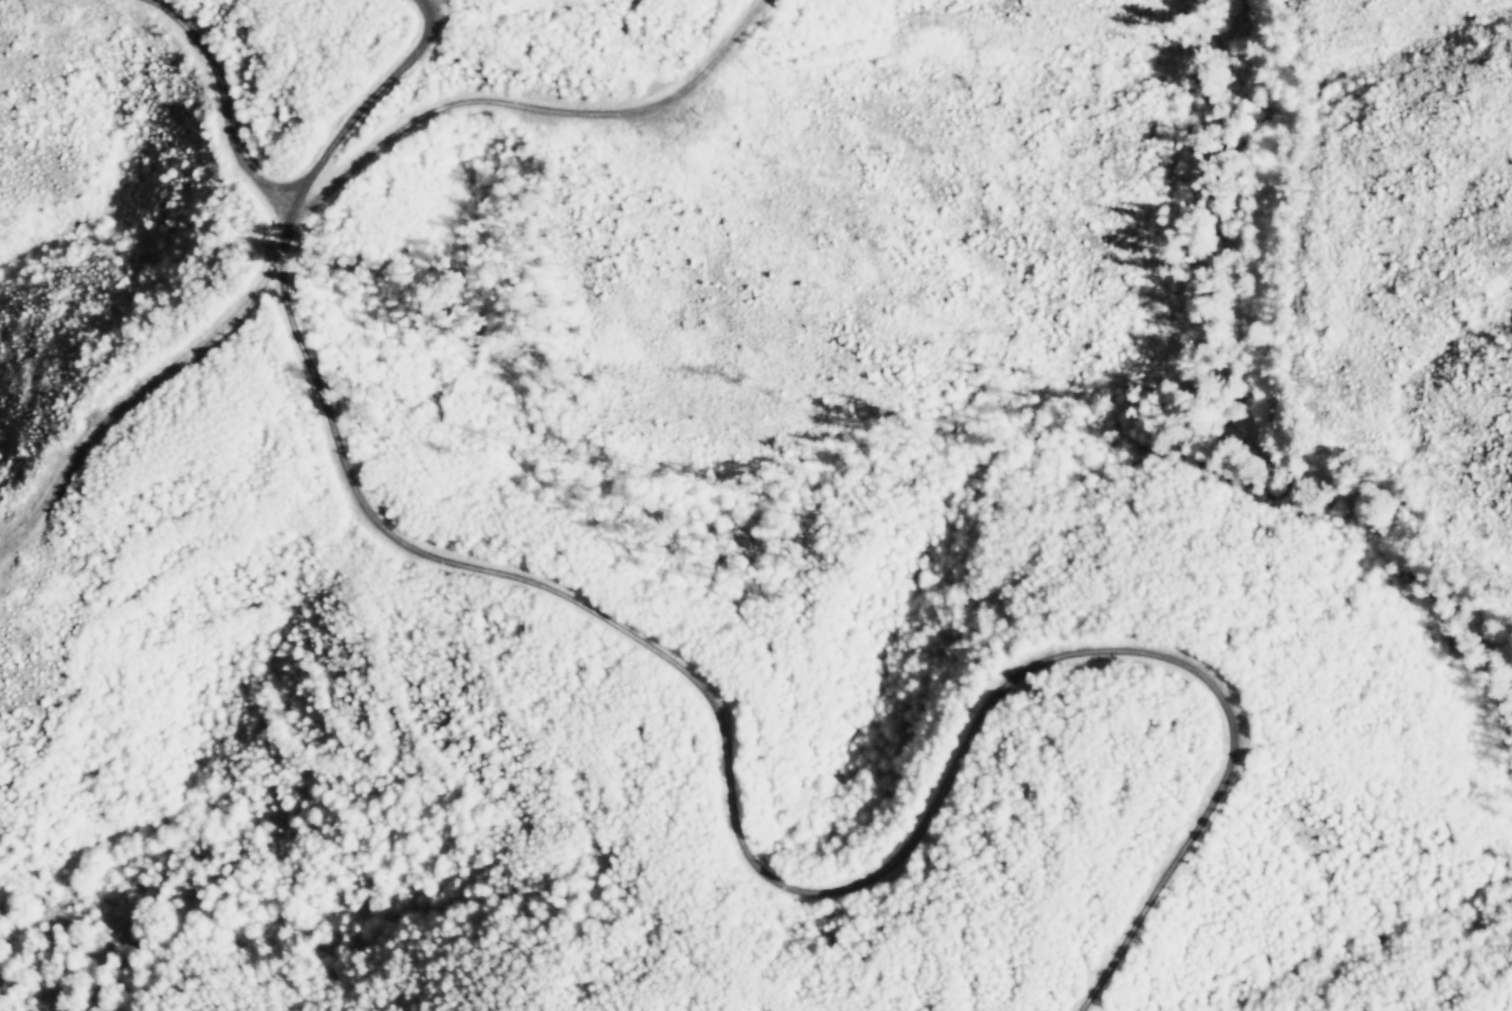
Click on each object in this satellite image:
road: (211, 103)
road: (370, 106)
road: (542, 108)
road: (789, 894)

